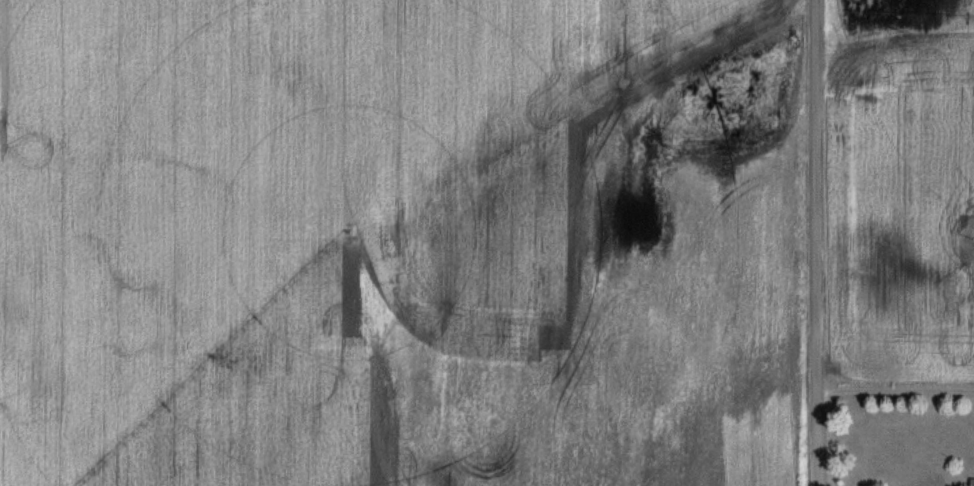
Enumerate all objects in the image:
road: (815, 243)
building: (972, 482)

